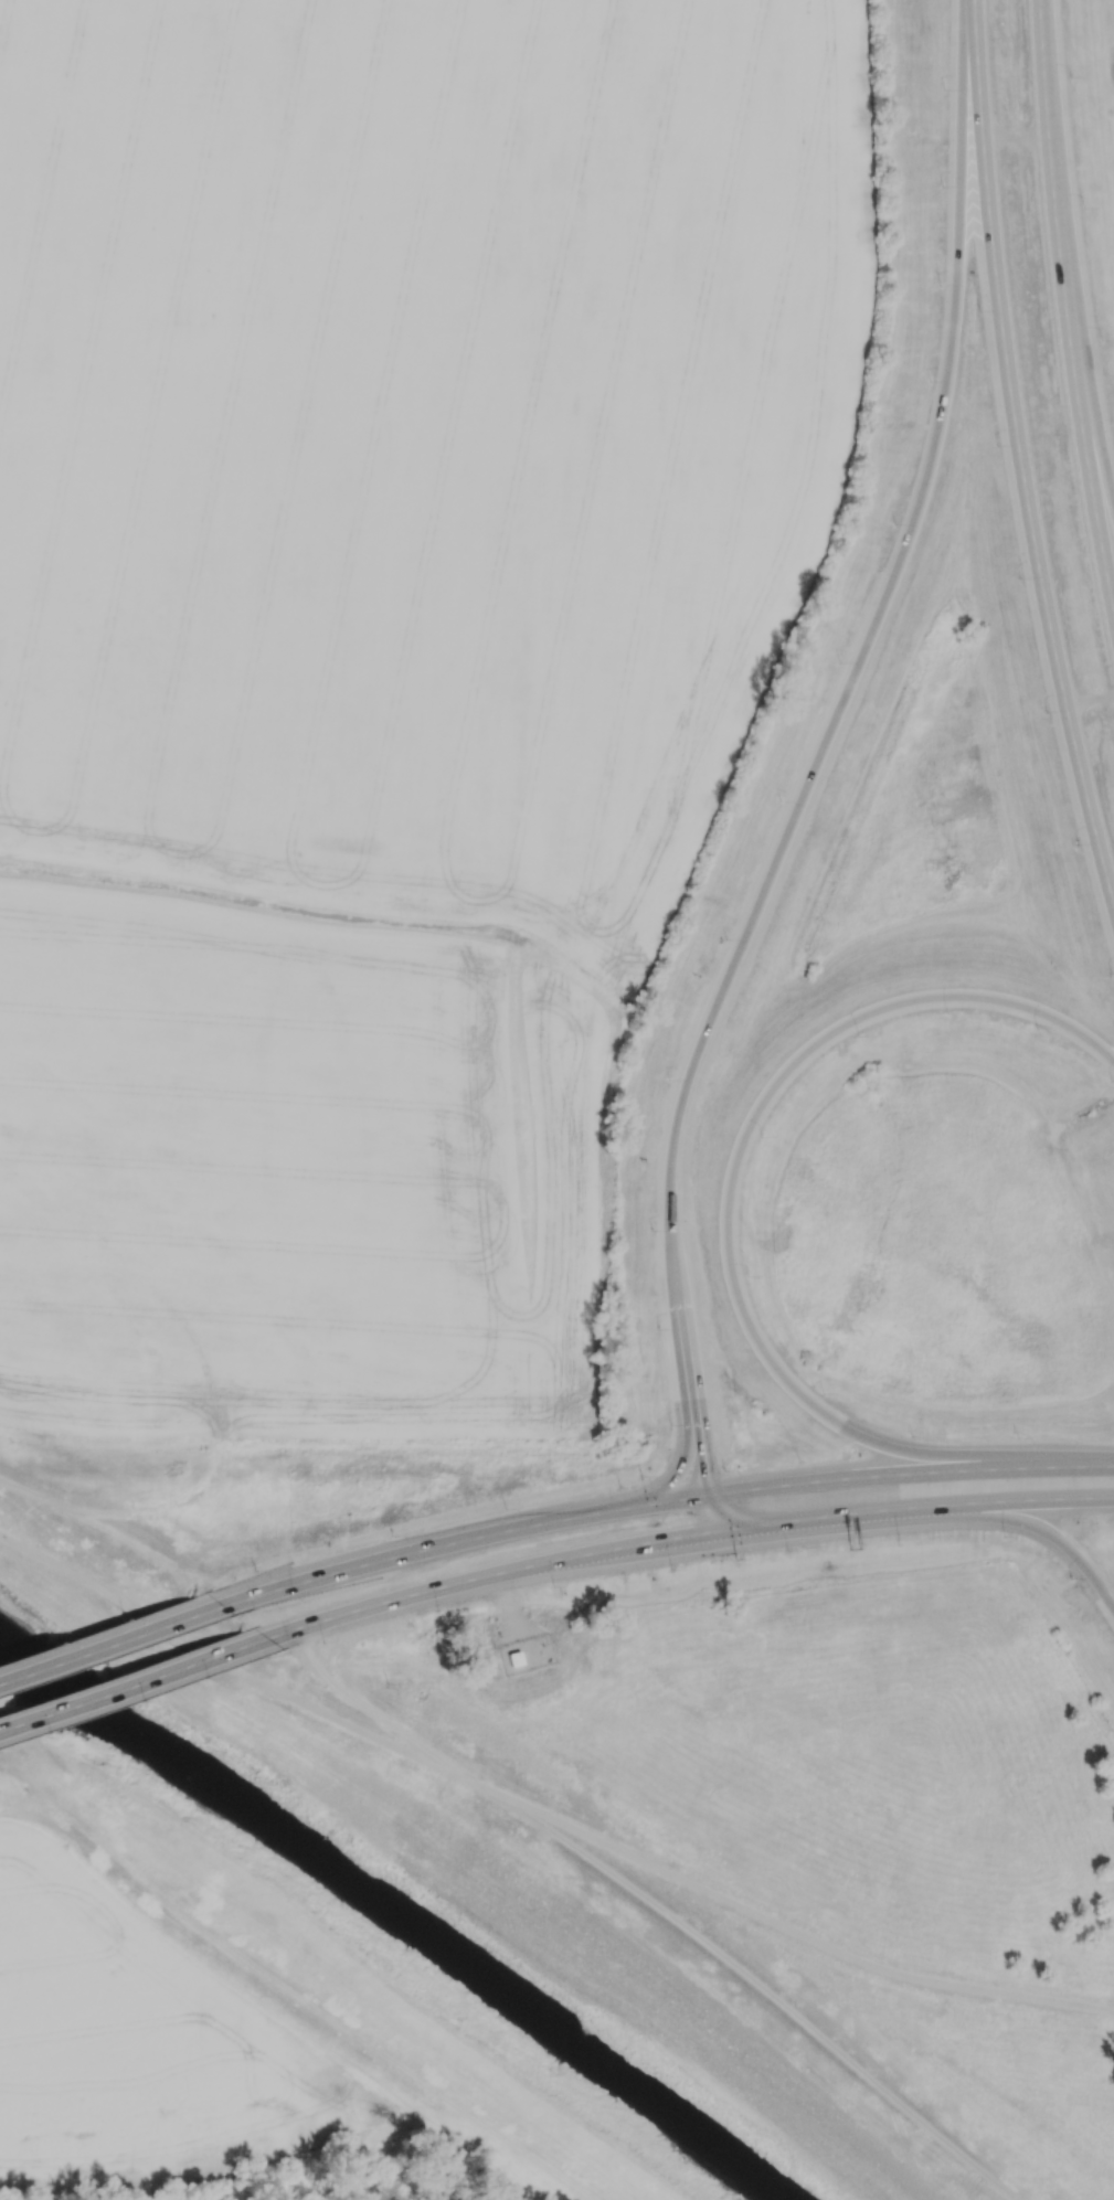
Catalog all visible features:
road: (1017, 135)
road: (1070, 269)
road: (1021, 455)
road: (882, 609)
crop: (385, 656)
road: (1090, 697)
road: (728, 1200)
road: (685, 1342)
road: (222, 1452)
traffic signals: (704, 1495)
road: (655, 1502)
road: (1037, 1502)
road: (93, 1513)
road: (726, 1516)
traffic signals: (756, 1528)
road: (704, 1537)
road: (1052, 1537)
road: (67, 1571)
road: (202, 1580)
road: (509, 1603)
road: (351, 1611)
road: (103, 1644)
building: (512, 1659)
road: (125, 1686)
road: (303, 1702)
road: (373, 1715)
river: (401, 1911)
road: (786, 1927)
road: (274, 1981)
road: (756, 1981)

